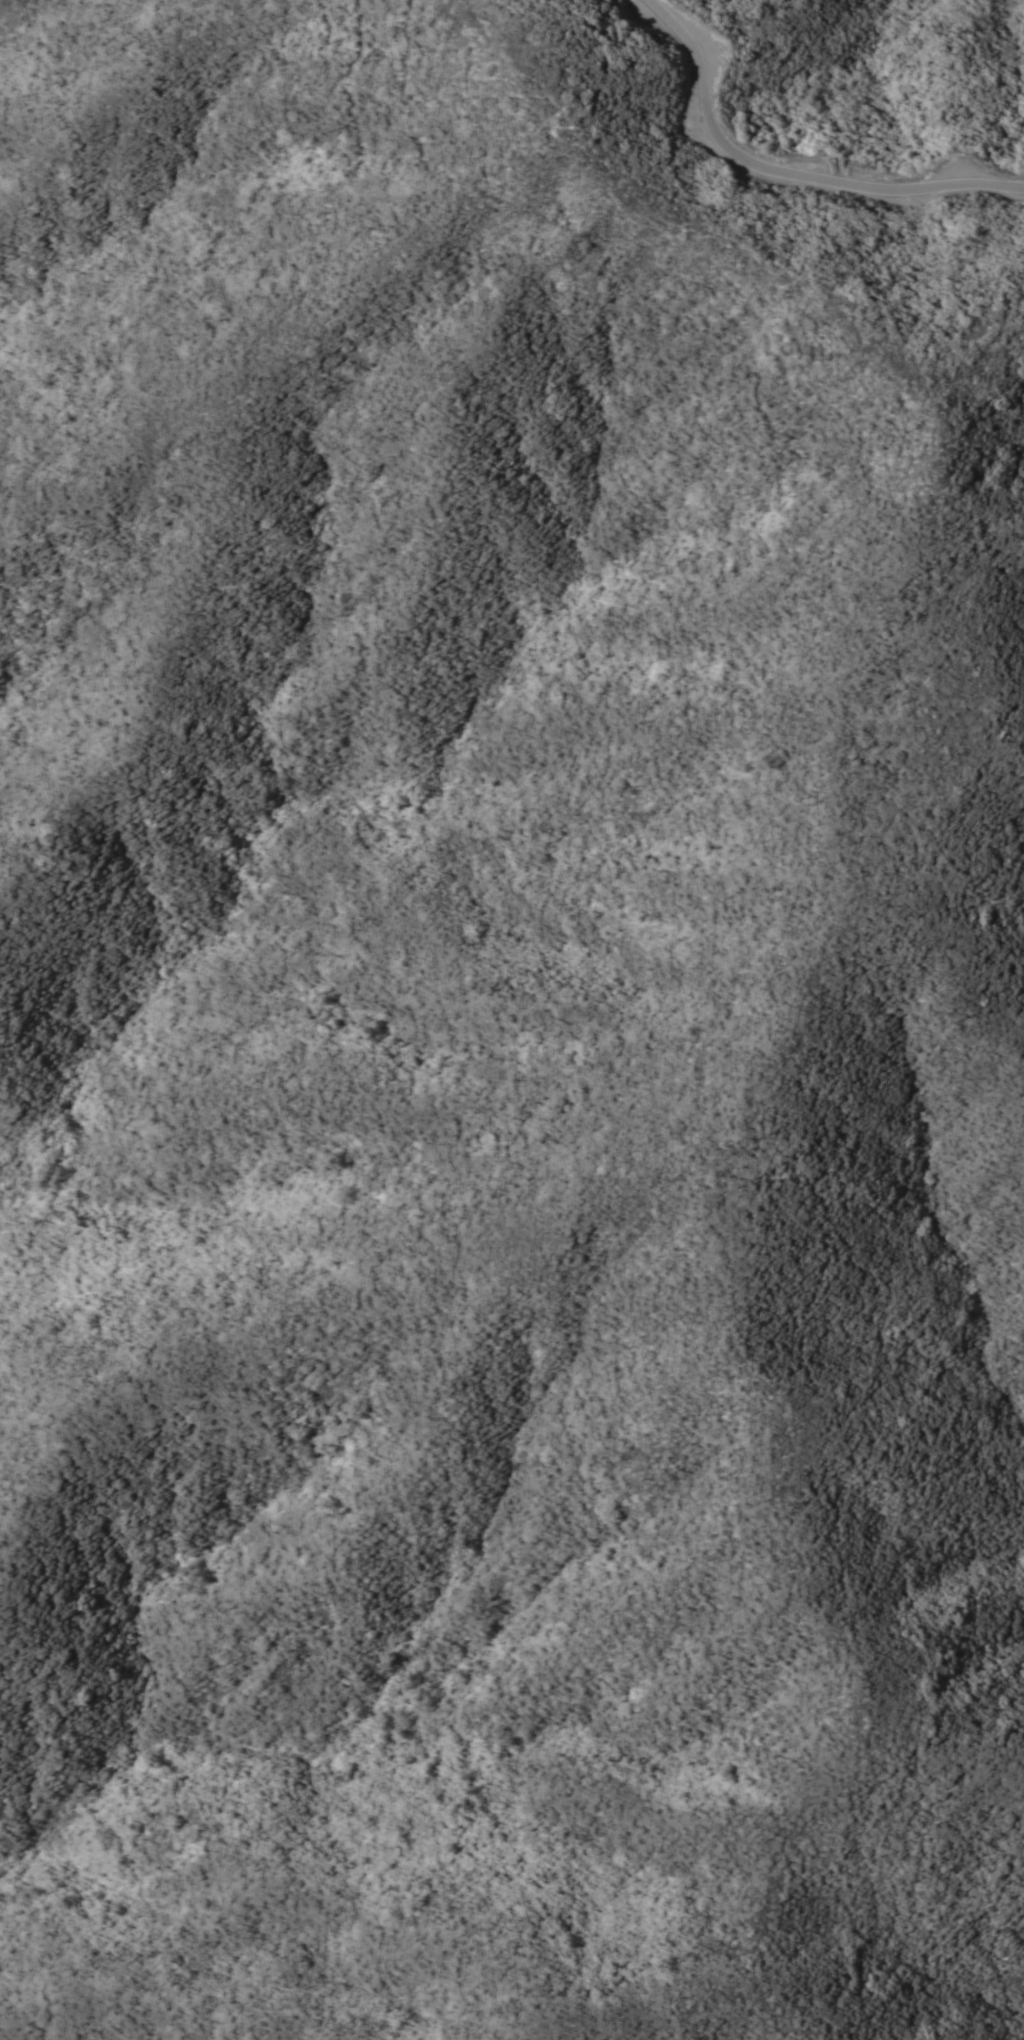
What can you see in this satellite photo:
road: (786, 173)

